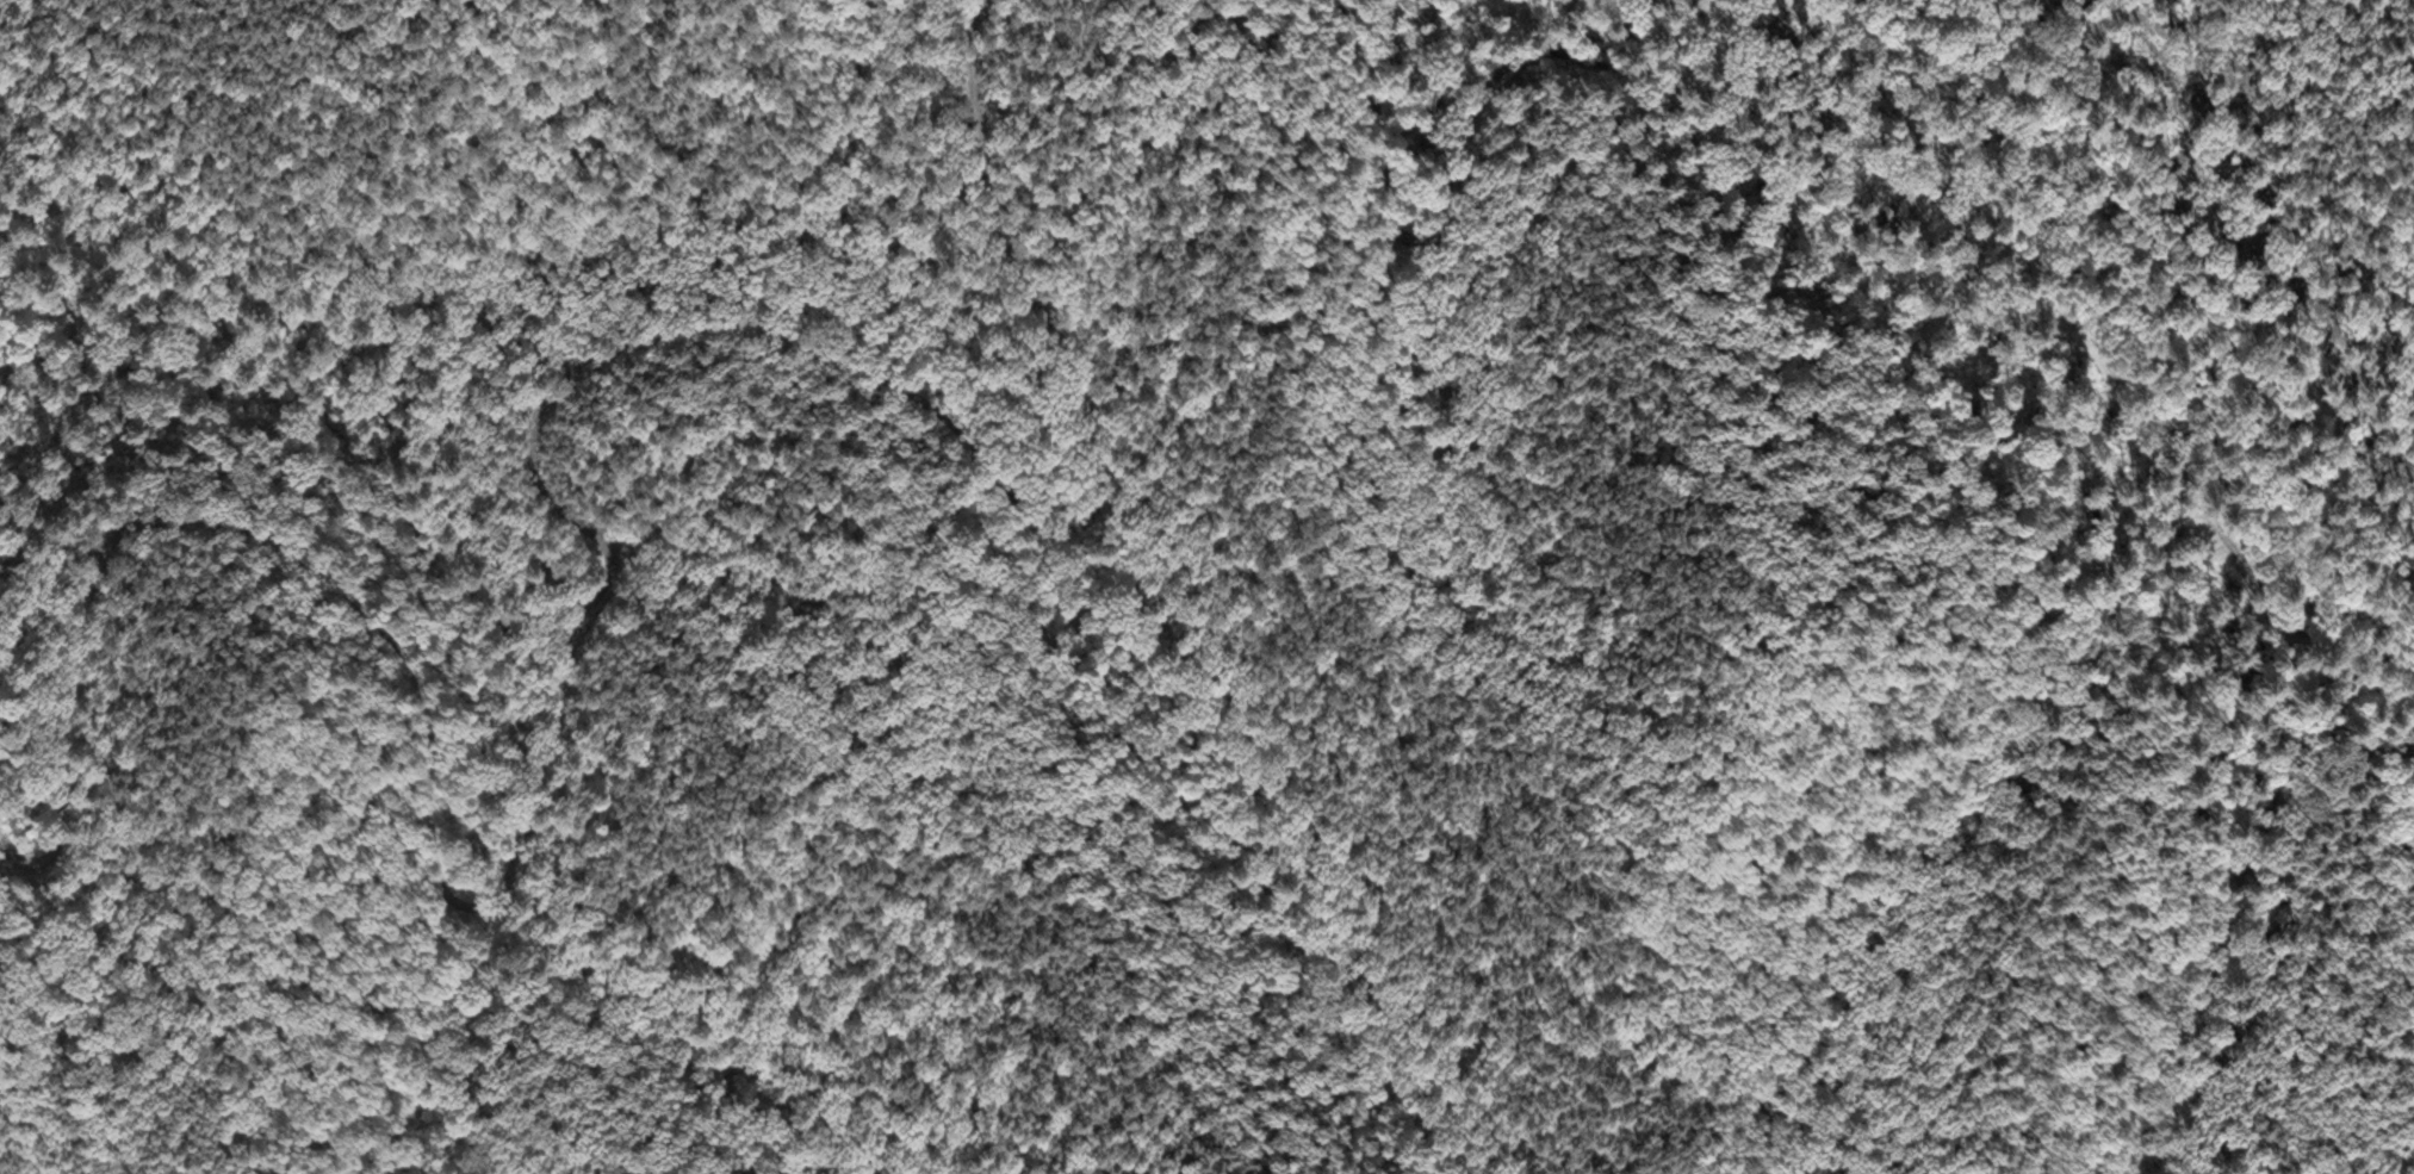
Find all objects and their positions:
road: (1456, 186)
road: (566, 549)

